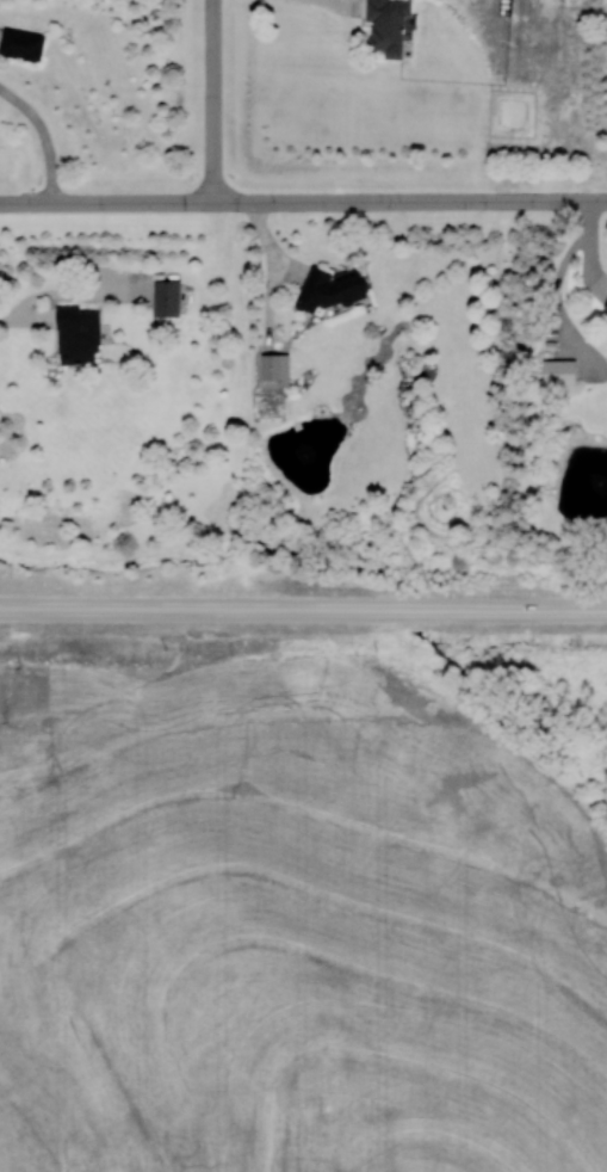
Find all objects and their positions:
building: (389, 25)
building: (21, 44)
road: (212, 100)
road: (45, 136)
road: (600, 199)
road: (403, 201)
road: (106, 202)
building: (330, 289)
building: (166, 297)
building: (605, 307)
building: (78, 335)
building: (274, 366)
building: (558, 371)
fountain: (596, 482)
road: (303, 611)
crop: (289, 929)

